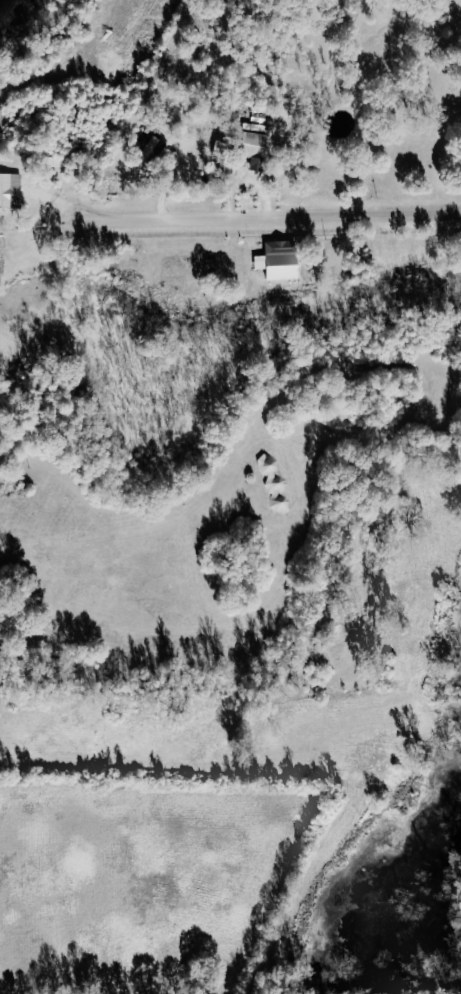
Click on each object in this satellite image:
building: (256, 145)
building: (149, 152)
building: (229, 157)
building: (11, 190)
road: (268, 220)
building: (285, 266)
building: (286, 493)

